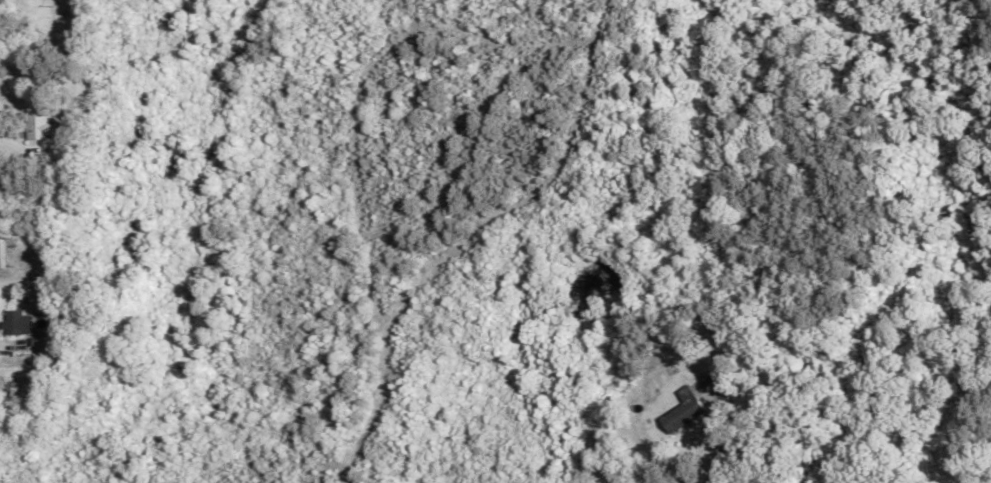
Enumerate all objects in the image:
building: (36, 122)
building: (18, 321)
building: (8, 396)
building: (683, 410)
road: (721, 443)

